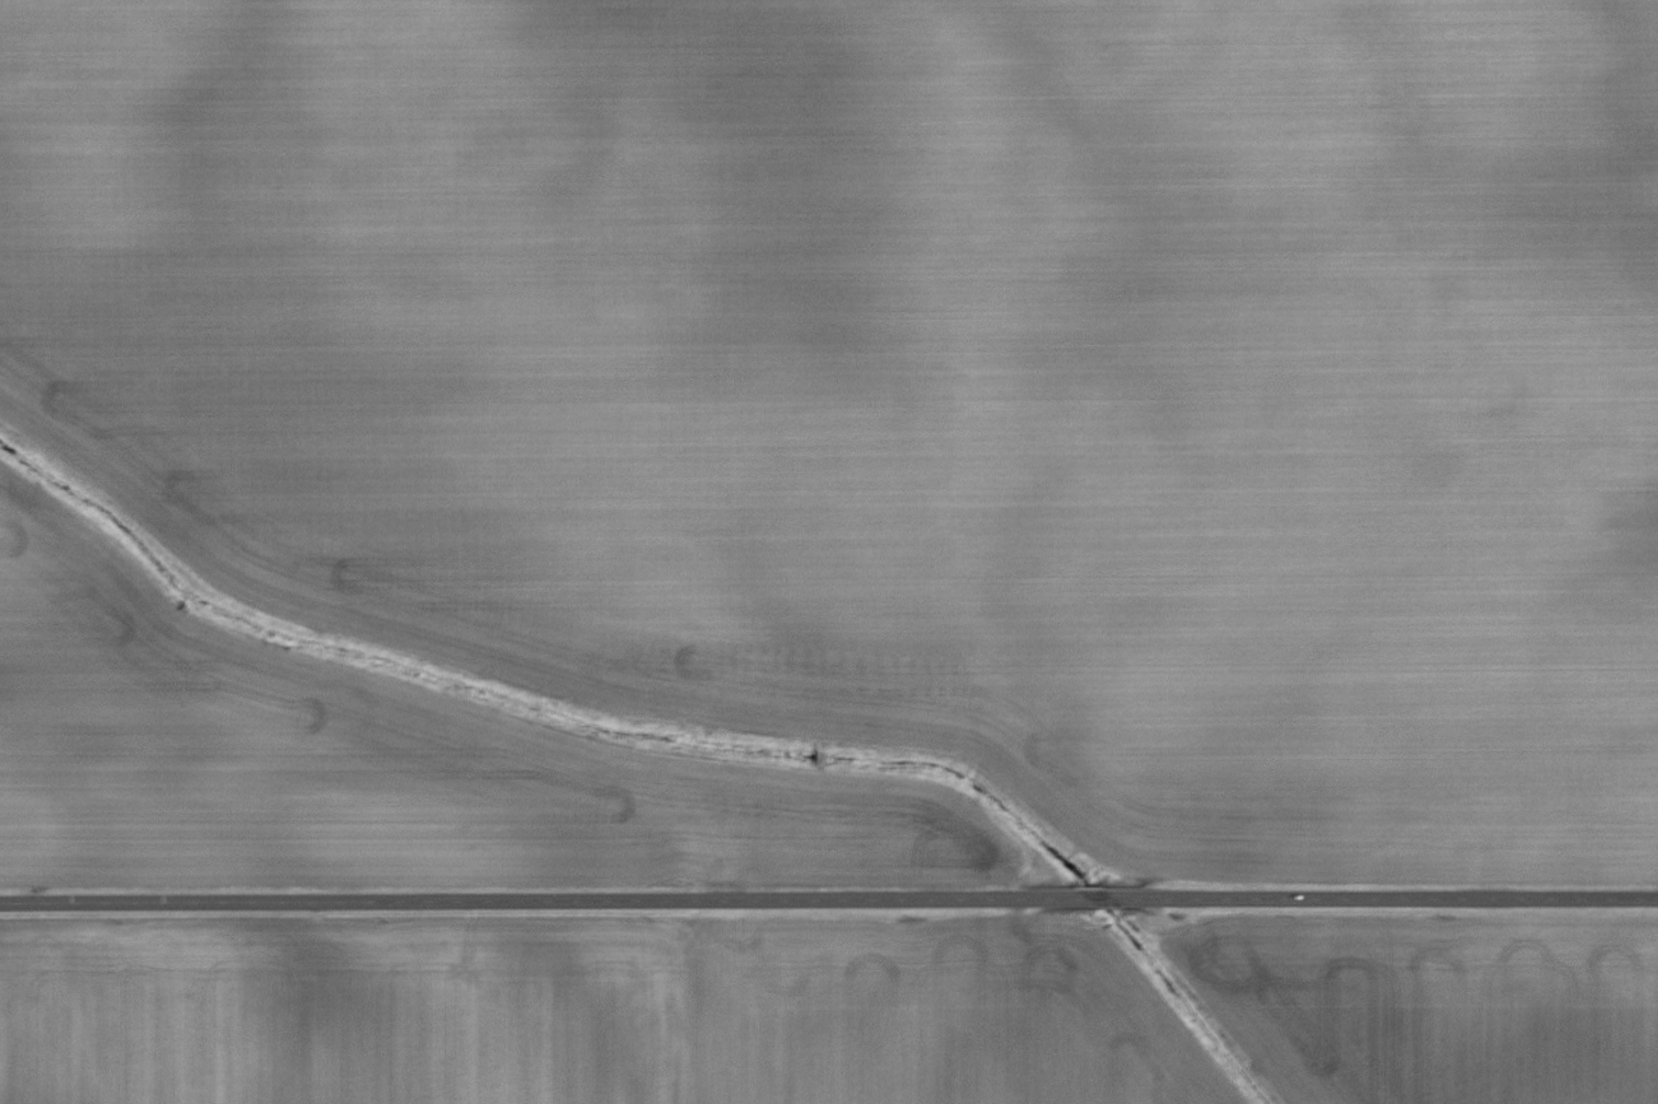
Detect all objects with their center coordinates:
road: (828, 889)

